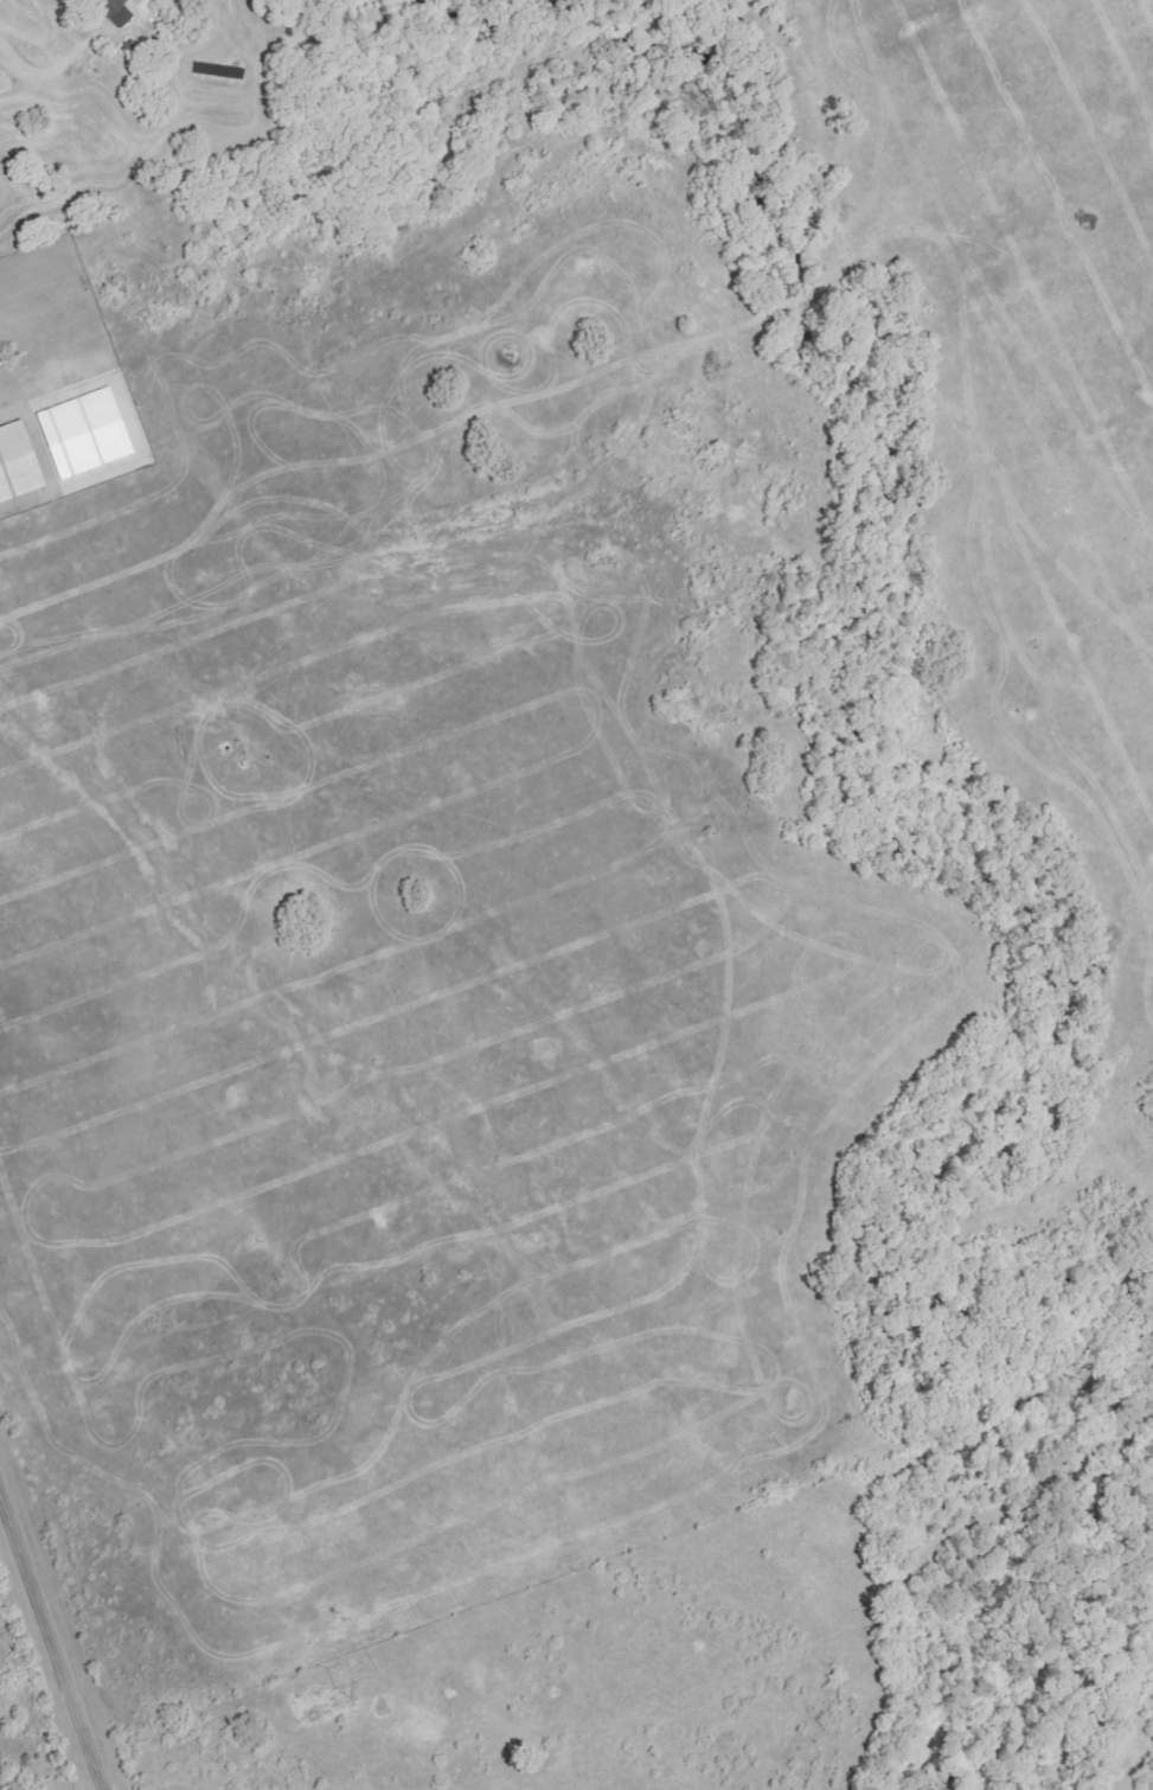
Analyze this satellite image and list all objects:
road: (33, 38)
road: (11, 414)
building: (88, 433)
building: (19, 464)
road: (52, 1641)

